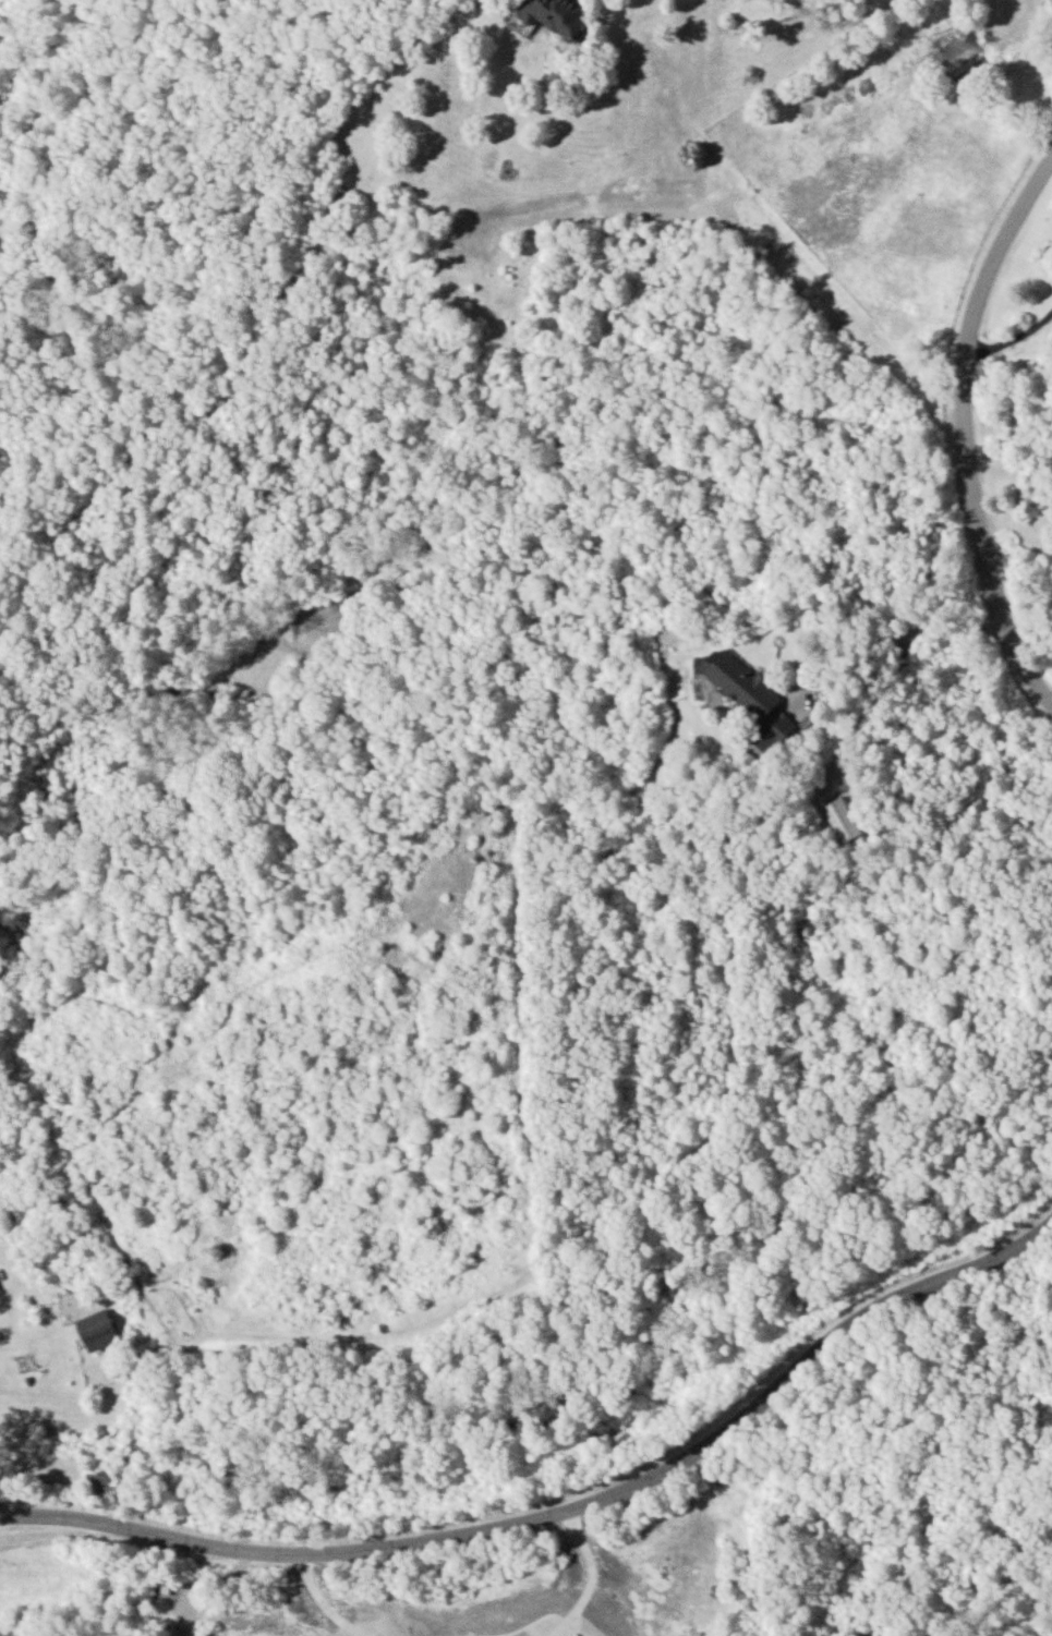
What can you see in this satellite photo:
building: (547, 16)
road: (1016, 340)
road: (966, 429)
road: (911, 631)
building: (748, 696)
building: (839, 820)
building: (95, 1330)
building: (102, 1476)
road: (565, 1513)
road: (0, 1514)
road: (589, 1575)
road: (205, 1582)
building: (165, 1588)
road: (323, 1601)
road: (511, 1631)

